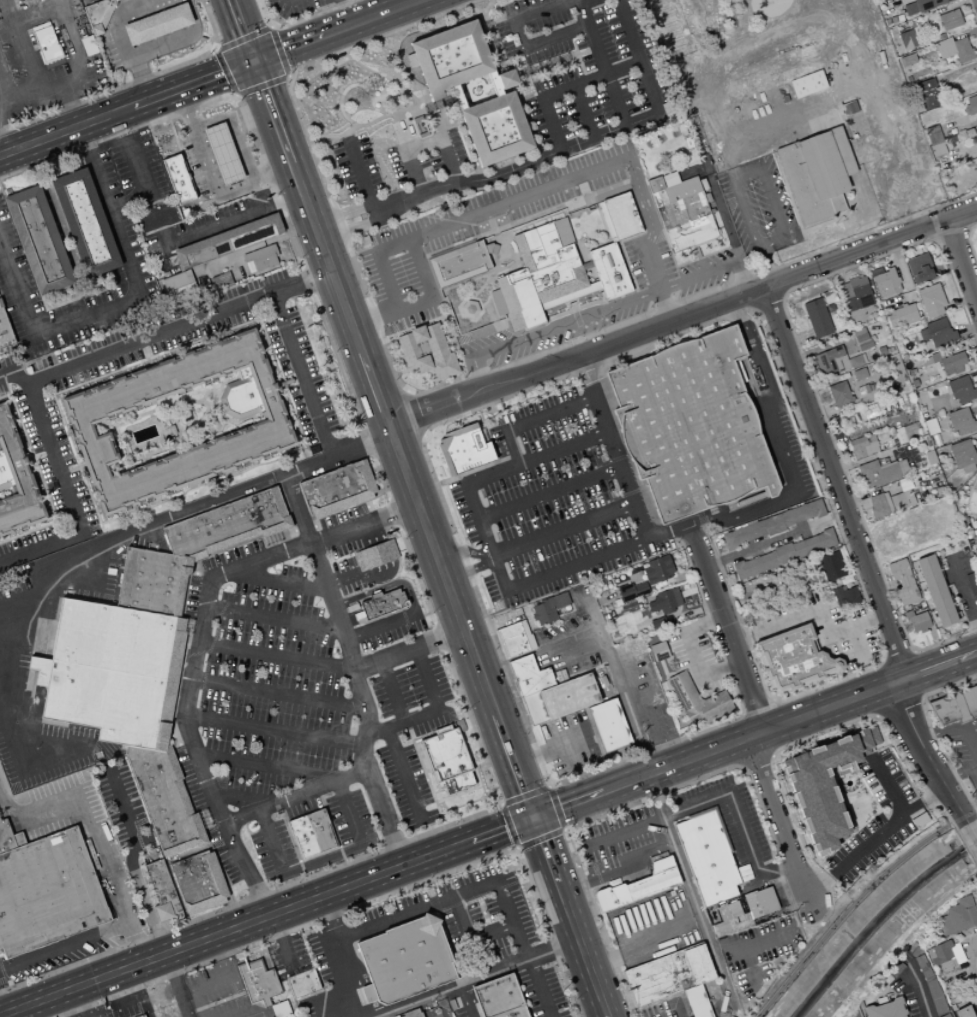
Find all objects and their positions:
road: (583, 1)
building: (938, 2)
building: (923, 5)
road: (952, 5)
road: (747, 6)
road: (373, 7)
building: (910, 8)
road: (478, 11)
road: (346, 12)
road: (972, 13)
building: (97, 14)
road: (368, 17)
road: (773, 17)
road: (118, 18)
building: (950, 19)
road: (298, 21)
building: (156, 23)
road: (713, 28)
road: (269, 29)
road: (241, 30)
gas station: (146, 34)
road: (964, 34)
road: (519, 36)
building: (902, 37)
road: (244, 40)
building: (46, 45)
building: (87, 45)
road: (217, 47)
road: (286, 47)
building: (945, 47)
building: (962, 50)
road: (276, 52)
road: (496, 54)
building: (449, 57)
road: (638, 58)
road: (556, 60)
parking lot: (581, 60)
traffic signals: (252, 61)
building: (907, 61)
road: (601, 64)
road: (581, 67)
road: (956, 70)
road: (228, 71)
road: (286, 73)
road: (141, 76)
building: (506, 78)
road: (259, 82)
road: (131, 83)
road: (192, 83)
road: (362, 83)
building: (494, 83)
building: (807, 84)
building: (924, 85)
road: (482, 87)
road: (53, 88)
road: (563, 89)
road: (235, 95)
road: (379, 95)
road: (464, 95)
building: (457, 97)
road: (457, 97)
building: (929, 98)
road: (69, 104)
road: (435, 105)
building: (971, 105)
road: (271, 112)
road: (584, 113)
road: (368, 123)
road: (959, 127)
building: (495, 128)
road: (65, 129)
road: (610, 135)
building: (932, 135)
building: (976, 136)
road: (423, 143)
road: (2, 147)
building: (842, 150)
building: (937, 150)
road: (132, 153)
building: (221, 153)
gas station: (207, 157)
road: (80, 158)
building: (822, 165)
road: (761, 166)
parking lot: (394, 168)
road: (359, 174)
building: (177, 179)
road: (466, 181)
building: (804, 187)
road: (2, 190)
road: (531, 193)
road: (787, 194)
road: (571, 205)
road: (720, 206)
building: (681, 212)
road: (343, 213)
road: (959, 215)
building: (621, 216)
road: (920, 218)
building: (83, 222)
road: (824, 222)
road: (933, 222)
road: (844, 226)
road: (217, 227)
road: (508, 229)
road: (349, 230)
road: (950, 230)
road: (967, 230)
road: (935, 237)
building: (37, 240)
building: (226, 241)
building: (541, 243)
road: (968, 243)
road: (254, 245)
road: (870, 247)
road: (326, 257)
building: (259, 259)
road: (961, 261)
building: (459, 263)
road: (765, 263)
road: (890, 263)
road: (947, 264)
building: (919, 267)
building: (609, 271)
road: (839, 271)
building: (876, 272)
road: (905, 276)
road: (775, 280)
building: (220, 281)
building: (887, 282)
road: (426, 284)
road: (483, 284)
road: (89, 286)
building: (178, 286)
building: (855, 287)
building: (539, 288)
building: (928, 289)
road: (782, 294)
road: (79, 297)
road: (754, 299)
road: (767, 299)
road: (128, 300)
road: (958, 301)
building: (853, 303)
building: (932, 303)
building: (0, 306)
road: (755, 308)
building: (817, 309)
road: (588, 313)
building: (901, 315)
road: (422, 323)
building: (936, 325)
road: (178, 326)
road: (966, 330)
building: (859, 332)
building: (4, 333)
building: (938, 336)
road: (812, 337)
building: (861, 338)
road: (827, 345)
building: (865, 345)
road: (960, 347)
building: (427, 352)
road: (576, 357)
building: (937, 357)
road: (458, 360)
building: (830, 360)
building: (856, 361)
road: (817, 362)
building: (953, 363)
road: (403, 370)
road: (300, 374)
road: (807, 374)
road: (816, 376)
road: (454, 377)
road: (13, 378)
road: (550, 380)
road: (437, 385)
road: (373, 388)
building: (962, 389)
road: (605, 390)
road: (406, 392)
building: (839, 394)
road: (380, 404)
building: (868, 411)
road: (408, 414)
road: (532, 420)
building: (269, 422)
road: (479, 422)
building: (961, 422)
building: (690, 425)
building: (931, 426)
road: (420, 433)
building: (905, 433)
road: (487, 434)
road: (393, 439)
road: (625, 444)
building: (863, 446)
road: (611, 447)
road: (776, 448)
building: (463, 449)
building: (914, 449)
building: (962, 453)
building: (930, 457)
road: (864, 459)
building: (902, 467)
road: (473, 469)
building: (878, 472)
road: (274, 477)
building: (15, 482)
road: (834, 483)
building: (336, 489)
building: (976, 489)
road: (874, 491)
road: (548, 493)
road: (67, 497)
building: (909, 497)
parking lot: (543, 498)
building: (886, 499)
building: (898, 501)
building: (909, 504)
road: (966, 504)
building: (878, 505)
parking lot: (546, 507)
road: (864, 509)
building: (802, 512)
building: (226, 524)
building: (773, 524)
road: (657, 527)
road: (562, 531)
building: (743, 534)
building: (975, 539)
road: (765, 543)
building: (814, 543)
building: (976, 545)
road: (459, 549)
road: (379, 552)
building: (783, 553)
building: (375, 555)
road: (492, 558)
building: (754, 565)
building: (831, 565)
road: (440, 569)
building: (898, 569)
road: (468, 570)
building: (658, 570)
road: (885, 572)
road: (58, 574)
road: (346, 578)
road: (276, 580)
building: (151, 581)
building: (905, 581)
road: (419, 582)
road: (404, 584)
road: (886, 588)
building: (640, 589)
road: (373, 590)
building: (936, 590)
road: (963, 591)
building: (626, 592)
building: (907, 595)
building: (850, 596)
road: (351, 598)
building: (666, 599)
building: (557, 600)
road: (895, 600)
building: (382, 603)
building: (351, 607)
road: (900, 607)
road: (814, 610)
building: (542, 613)
road: (55, 615)
building: (357, 616)
road: (272, 617)
road: (492, 622)
building: (919, 622)
building: (658, 623)
road: (380, 625)
road: (725, 627)
building: (923, 631)
building: (512, 640)
road: (925, 640)
road: (857, 644)
road: (195, 646)
road: (568, 647)
road: (408, 650)
road: (692, 654)
road: (276, 655)
road: (898, 656)
building: (660, 657)
building: (794, 659)
road: (938, 667)
building: (37, 669)
road: (631, 670)
building: (112, 672)
road: (911, 675)
building: (529, 676)
road: (391, 691)
road: (360, 692)
road: (277, 693)
road: (867, 693)
building: (568, 696)
road: (920, 697)
building: (697, 701)
road: (898, 705)
building: (956, 706)
building: (533, 709)
road: (760, 710)
road: (431, 711)
road: (877, 716)
road: (884, 724)
building: (608, 726)
building: (441, 729)
road: (955, 729)
road: (273, 730)
road: (929, 731)
road: (751, 735)
parking lot: (569, 742)
road: (736, 742)
road: (552, 749)
road: (925, 753)
building: (445, 755)
road: (755, 758)
road: (266, 766)
road: (512, 766)
road: (742, 766)
road: (421, 767)
road: (23, 774)
road: (579, 774)
road: (404, 776)
road: (960, 776)
road: (549, 783)
building: (455, 784)
building: (822, 789)
road: (437, 791)
road: (524, 794)
road: (243, 797)
road: (449, 797)
building: (163, 800)
road: (926, 802)
road: (119, 803)
road: (500, 803)
road: (567, 804)
road: (556, 807)
road: (621, 807)
road: (384, 817)
traffic signals: (532, 817)
road: (738, 818)
road: (895, 821)
road: (508, 825)
road: (779, 829)
road: (331, 830)
road: (971, 830)
road: (97, 835)
building: (310, 835)
road: (541, 837)
building: (9, 838)
road: (605, 839)
road: (292, 844)
parking lot: (620, 845)
road: (516, 848)
road: (965, 848)
road: (545, 852)
building: (707, 858)
road: (322, 860)
road: (618, 871)
building: (197, 882)
building: (640, 885)
building: (160, 891)
building: (46, 893)
road: (456, 893)
road: (691, 895)
road: (143, 899)
road: (369, 900)
road: (855, 900)
road: (974, 900)
building: (767, 901)
building: (752, 905)
road: (265, 915)
building: (957, 917)
parking lot: (653, 926)
building: (976, 935)
road: (470, 936)
road: (771, 936)
road: (281, 941)
road: (64, 944)
road: (970, 947)
building: (910, 948)
road: (582, 952)
building: (915, 952)
building: (941, 952)
road: (341, 955)
road: (217, 956)
building: (959, 956)
building: (405, 961)
road: (604, 961)
building: (947, 963)
building: (923, 968)
building: (895, 969)
road: (354, 974)
building: (668, 974)
road: (476, 979)
building: (257, 982)
building: (302, 983)
road: (176, 985)
road: (202, 985)
road: (539, 988)
road: (919, 989)
road: (367, 994)
building: (498, 997)
building: (935, 997)
parking lot: (219, 998)
road: (86, 1000)
road: (467, 1001)
building: (696, 1001)
road: (195, 1003)
road: (425, 1008)
road: (372, 1009)
building: (886, 1009)
road: (35, 1010)
road: (248, 1010)
gas station: (94, 1011)
building: (278, 1011)
building: (964, 1012)
building: (411, 1013)
road: (266, 1014)
building: (945, 1015)
building: (140, 1016)

